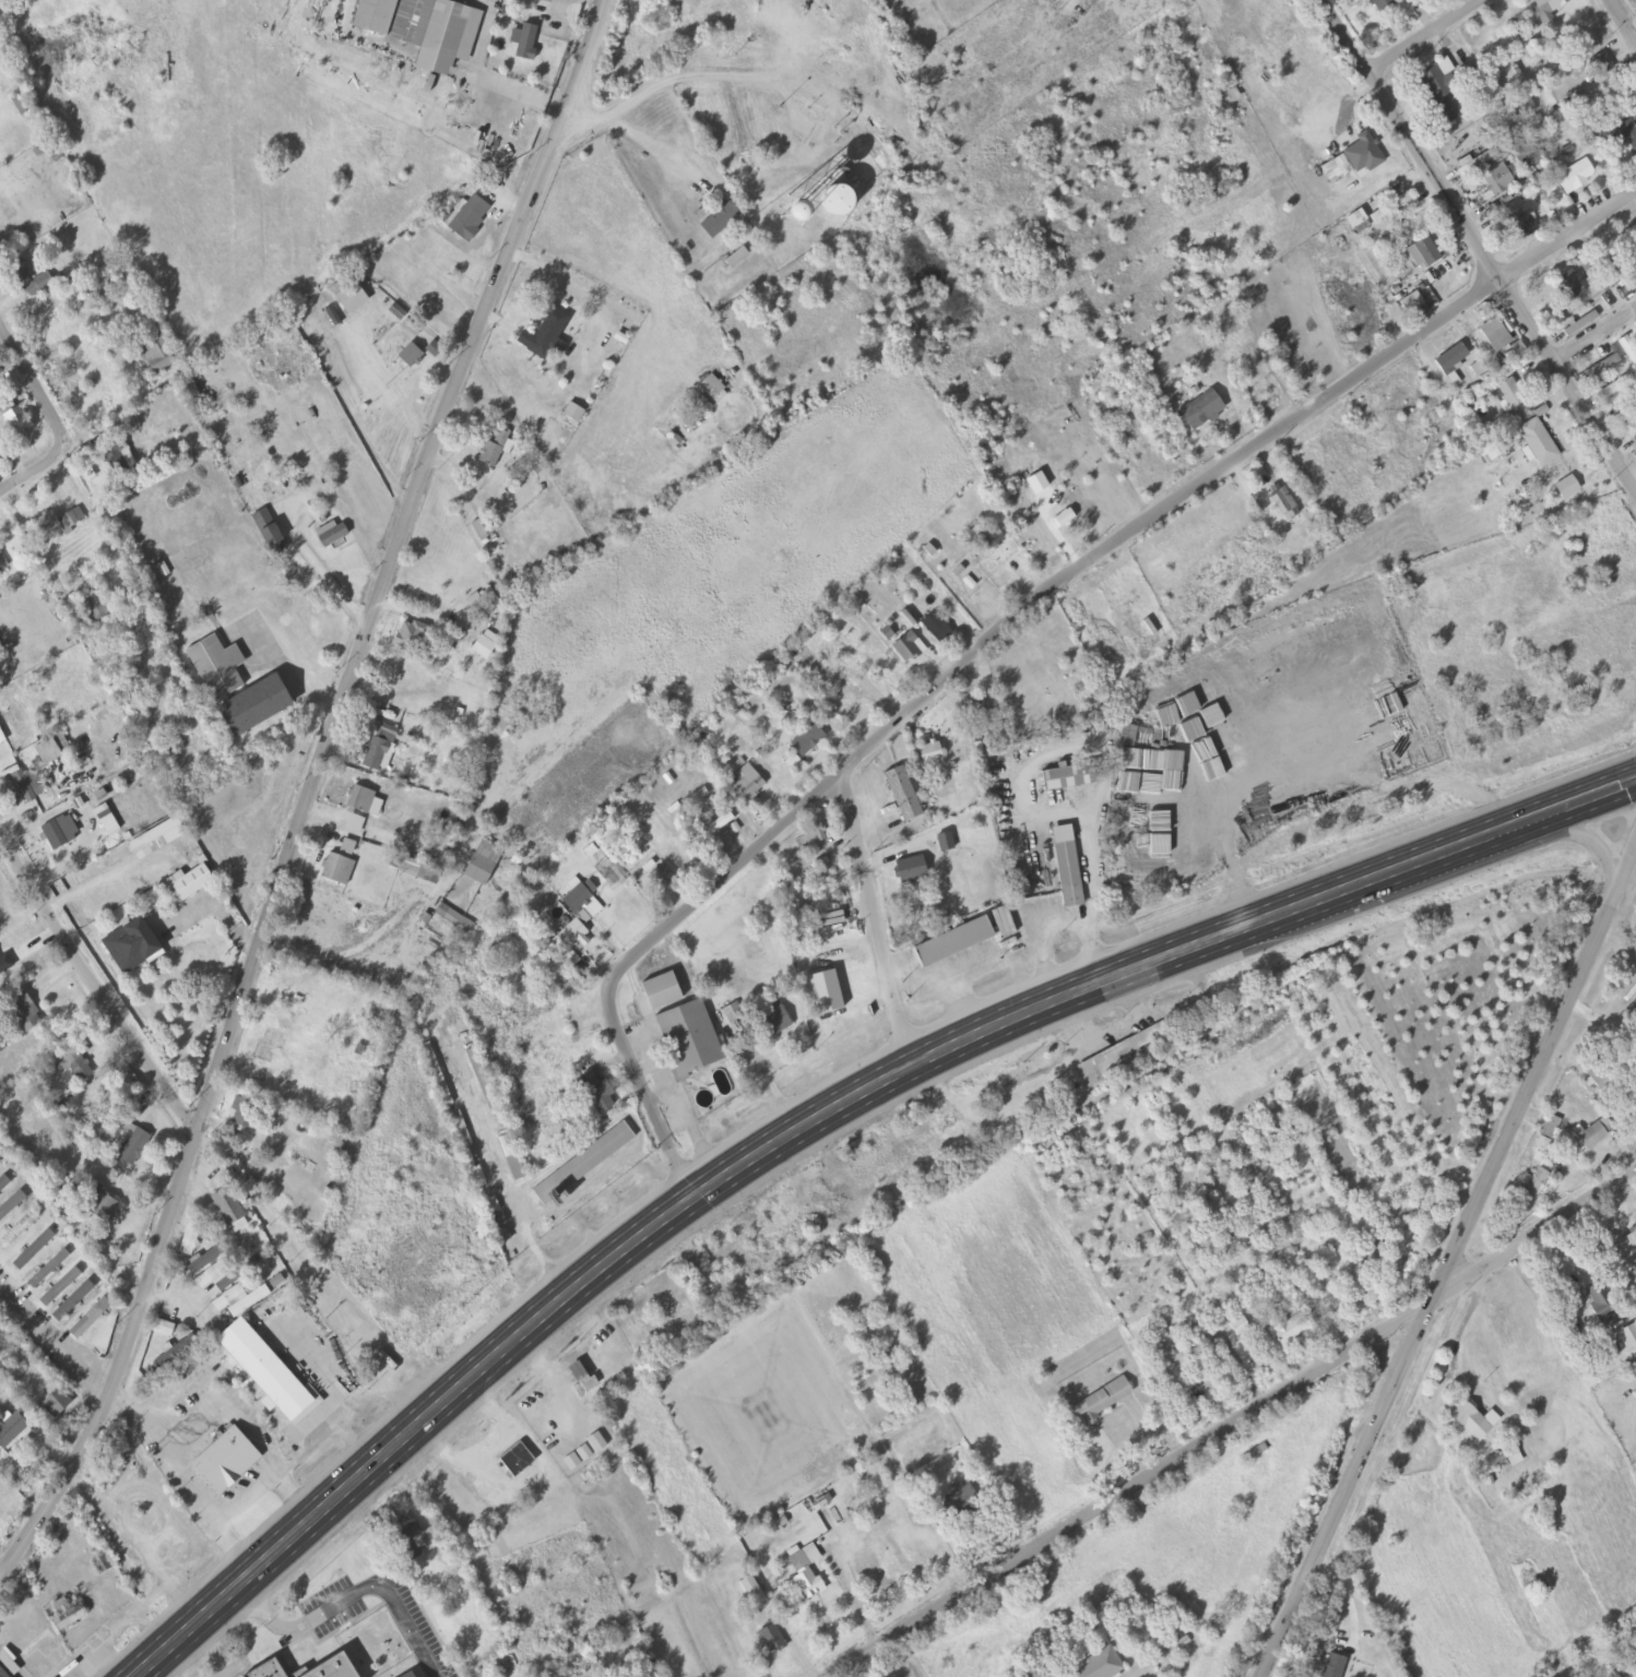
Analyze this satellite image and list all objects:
building: (548, 0)
building: (1634, 2)
building: (1380, 5)
building: (1544, 8)
road: (1624, 19)
building: (420, 27)
road: (1426, 34)
building: (526, 41)
building: (1600, 63)
building: (1439, 93)
building: (24, 105)
building: (1626, 135)
building: (1472, 163)
building: (1573, 175)
building: (1495, 179)
building: (830, 199)
building: (1388, 207)
building: (1520, 217)
building: (472, 218)
building: (716, 218)
building: (1356, 222)
road: (1478, 240)
building: (1422, 252)
building: (446, 263)
building: (24, 271)
building: (1634, 272)
building: (1567, 285)
building: (352, 294)
building: (1410, 302)
building: (1579, 323)
building: (1635, 324)
building: (549, 333)
road: (1598, 333)
building: (1493, 334)
building: (1628, 348)
building: (161, 353)
building: (412, 356)
building: (1449, 358)
building: (1598, 368)
building: (1477, 369)
building: (1614, 388)
building: (192, 391)
building: (1508, 393)
building: (1199, 412)
building: (1625, 413)
road: (57, 414)
building: (20, 420)
building: (1537, 442)
building: (496, 448)
building: (1634, 451)
building: (119, 460)
building: (1565, 487)
road: (1070, 500)
building: (1283, 503)
building: (61, 524)
building: (484, 528)
building: (334, 534)
building: (991, 539)
building: (1, 562)
building: (96, 608)
building: (935, 628)
road: (1006, 629)
building: (1332, 632)
building: (413, 635)
building: (904, 646)
building: (484, 649)
building: (1170, 686)
building: (239, 688)
building: (982, 703)
building: (852, 705)
building: (1155, 710)
building: (1127, 736)
building: (2, 737)
building: (806, 740)
building: (378, 744)
building: (928, 753)
building: (1067, 777)
building: (746, 782)
road: (311, 789)
building: (901, 793)
building: (361, 799)
building: (355, 824)
building: (714, 828)
building: (814, 834)
building: (56, 836)
building: (158, 840)
road: (1491, 863)
building: (484, 864)
building: (337, 869)
building: (419, 870)
building: (905, 870)
building: (1067, 873)
building: (662, 878)
building: (190, 884)
building: (583, 902)
building: (631, 904)
building: (451, 917)
road: (877, 920)
building: (1001, 920)
building: (821, 929)
building: (570, 937)
building: (950, 941)
building: (134, 947)
road: (97, 985)
building: (664, 991)
building: (23, 1015)
building: (776, 1022)
building: (690, 1039)
building: (76, 1068)
building: (1610, 1072)
building: (596, 1093)
road: (821, 1115)
building: (246, 1116)
building: (1594, 1132)
building: (1546, 1134)
building: (135, 1149)
building: (0, 1163)
building: (585, 1165)
building: (4, 1184)
building: (1526, 1193)
building: (99, 1202)
building: (12, 1205)
building: (226, 1208)
building: (19, 1230)
building: (193, 1233)
building: (1628, 1244)
building: (35, 1250)
road: (1447, 1264)
building: (1291, 1268)
building: (49, 1270)
building: (223, 1276)
building: (61, 1287)
building: (235, 1295)
building: (74, 1301)
building: (1599, 1303)
building: (675, 1311)
building: (92, 1319)
building: (1238, 1327)
building: (1287, 1328)
building: (165, 1329)
building: (1602, 1347)
building: (176, 1353)
building: (270, 1373)
building: (583, 1380)
building: (1102, 1401)
building: (59, 1404)
road: (1232, 1420)
building: (1473, 1422)
building: (13, 1432)
building: (598, 1444)
building: (1505, 1458)
building: (229, 1461)
building: (519, 1461)
building: (959, 1500)
building: (417, 1542)
building: (807, 1573)
building: (750, 1587)
parking lot: (324, 1594)
road: (354, 1595)
building: (70, 1611)
parking lot: (414, 1613)
parking lot: (341, 1617)
parking lot: (341, 1618)
road: (313, 1634)
building: (772, 1640)
building: (1095, 1665)
building: (1333, 1666)
building: (333, 1668)
building: (266, 1669)
building: (3, 1673)
road: (446, 1673)
road: (389, 1675)
building: (407, 1675)
parking lot: (452, 1675)
building: (595, 1675)
building: (416, 1676)

